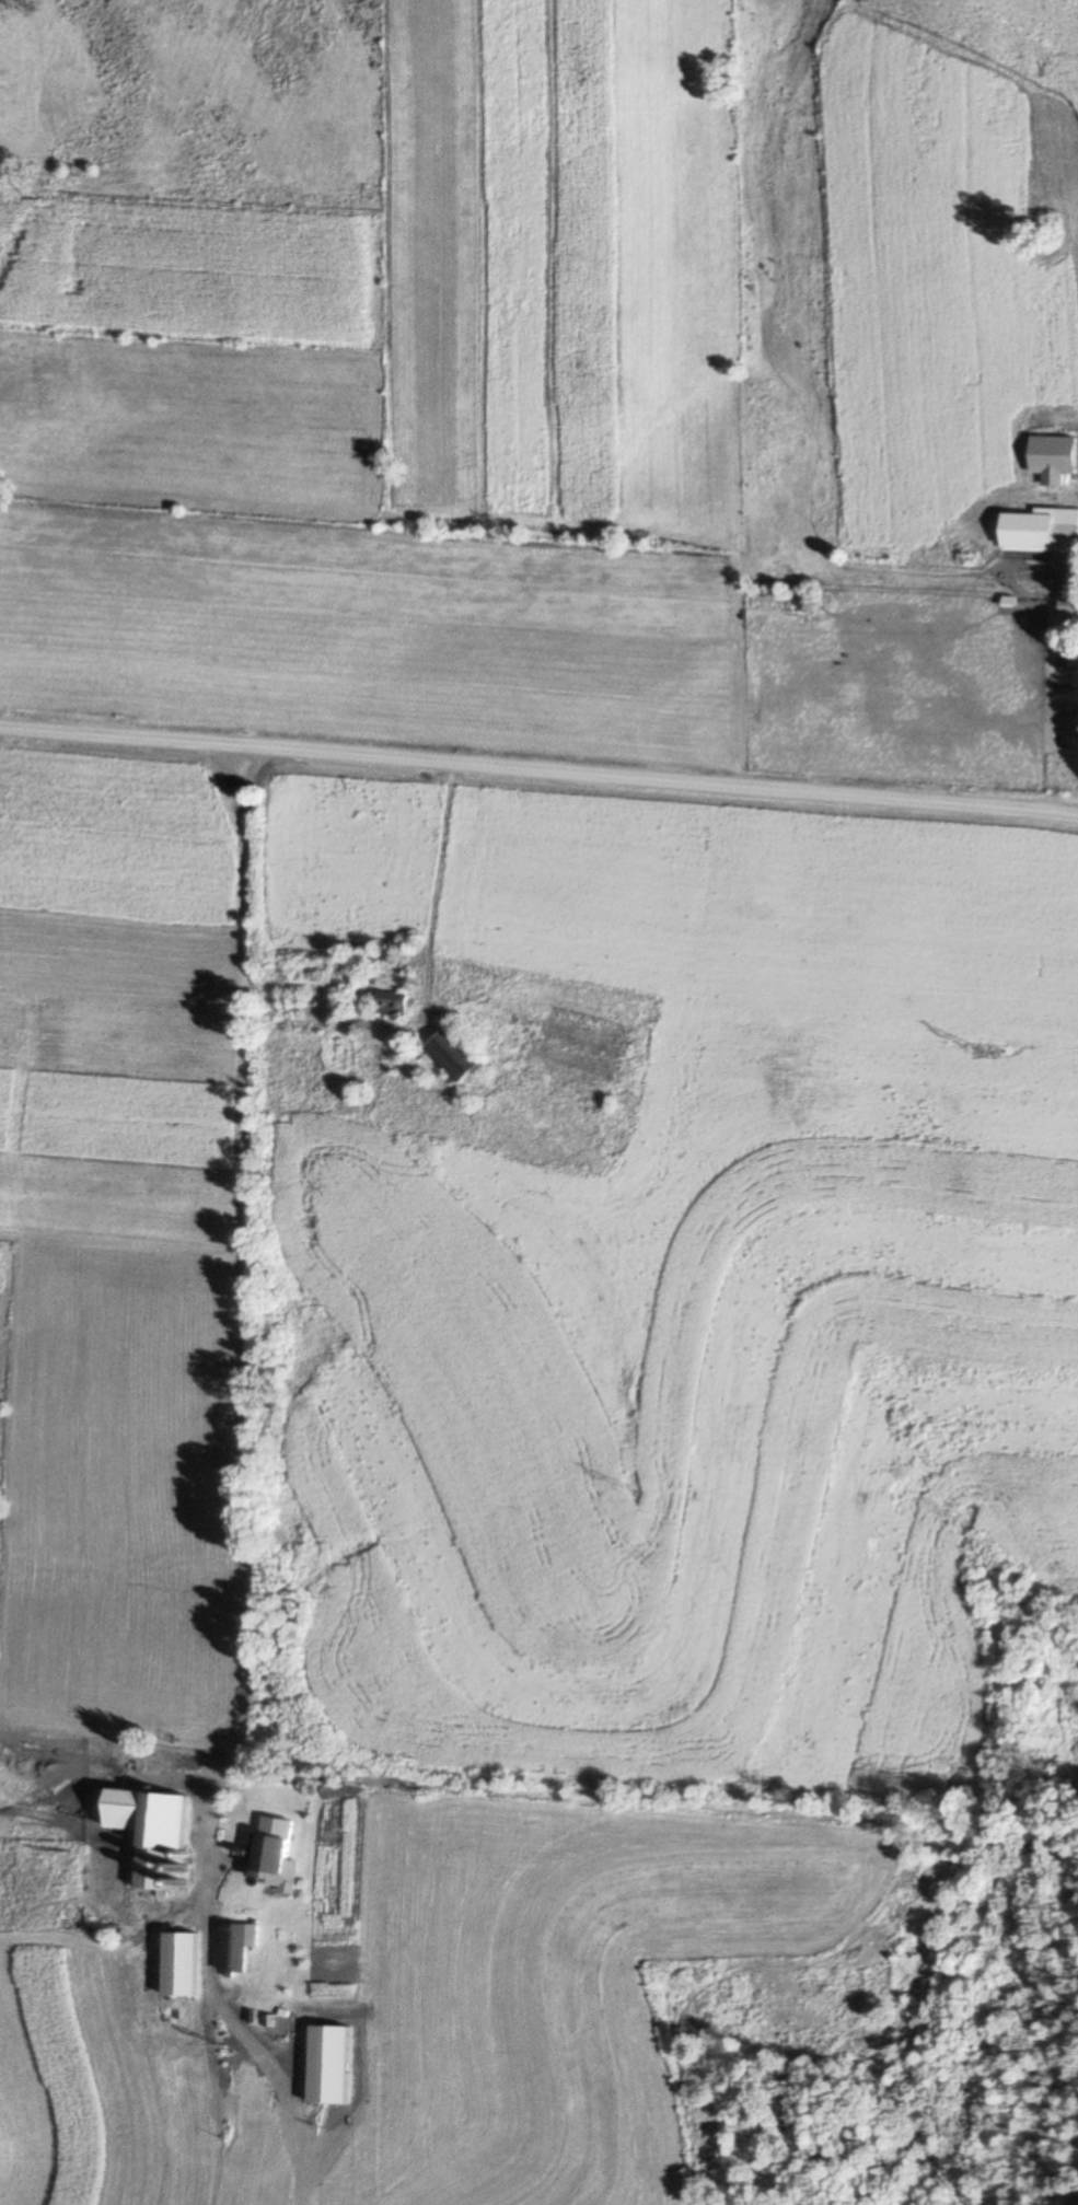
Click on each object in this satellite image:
building: (1064, 536)
road: (538, 771)
building: (391, 1005)
power tower: (980, 1047)
building: (452, 1055)
road: (244, 1241)
power tower: (637, 1489)
power tower: (407, 1786)
building: (148, 1840)
building: (269, 1856)
building: (233, 1949)
power tower: (231, 2049)

